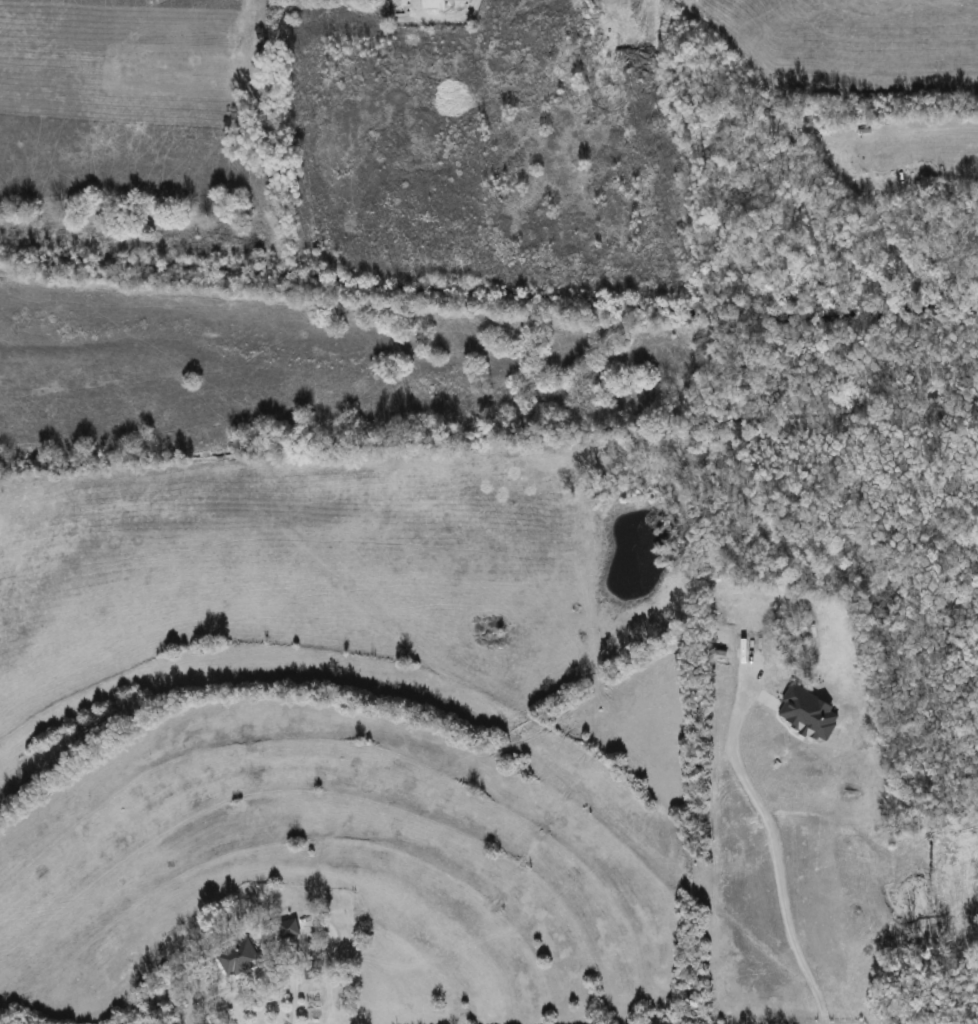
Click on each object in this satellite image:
building: (434, 4)
road: (774, 851)
building: (288, 928)
building: (238, 958)

